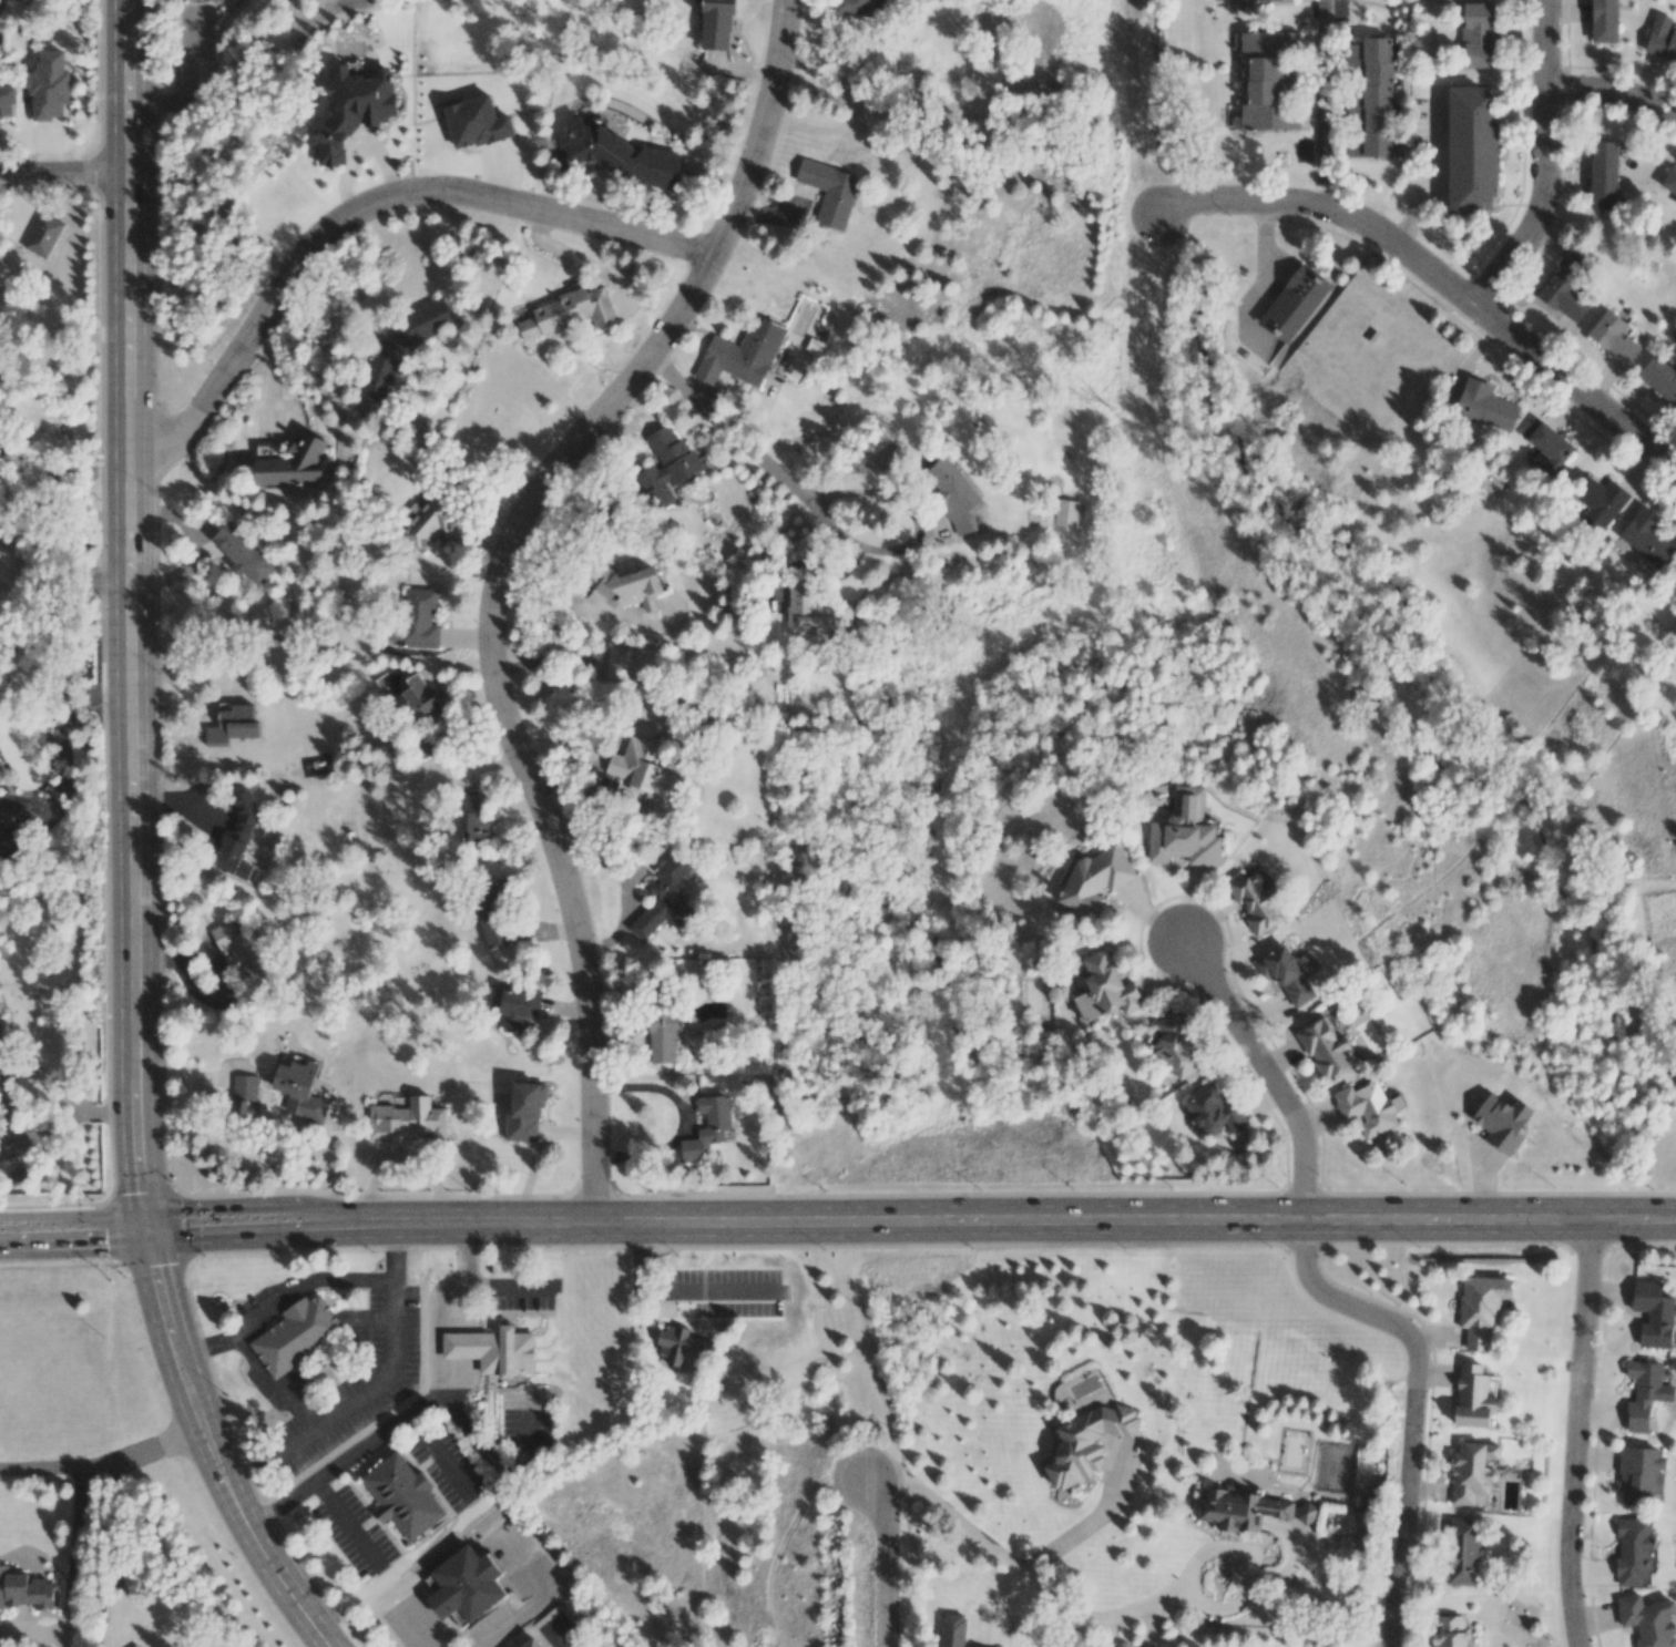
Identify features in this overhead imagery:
building: (1280, 1)
building: (856, 8)
building: (1604, 21)
building: (716, 24)
building: (1479, 34)
building: (1662, 38)
building: (1268, 80)
building: (49, 86)
road: (1613, 94)
building: (7, 100)
building: (1374, 101)
road: (1325, 104)
building: (352, 109)
building: (476, 122)
building: (1471, 151)
building: (616, 154)
road: (1550, 163)
road: (63, 172)
building: (1603, 175)
building: (1669, 180)
building: (830, 192)
building: (1675, 201)
road: (365, 204)
road: (1435, 276)
building: (1567, 288)
building: (1294, 303)
building: (569, 313)
building: (1613, 337)
building: (401, 347)
building: (742, 354)
road: (444, 374)
building: (1659, 378)
building: (1485, 406)
building: (1546, 444)
building: (294, 463)
building: (665, 467)
road: (443, 469)
building: (953, 494)
building: (1066, 513)
building: (429, 521)
road: (832, 533)
building: (1645, 536)
building: (242, 553)
building: (1675, 572)
road: (491, 575)
road: (58, 576)
road: (550, 582)
building: (630, 587)
building: (811, 613)
road: (130, 616)
building: (415, 621)
building: (619, 663)
building: (421, 698)
building: (232, 724)
road: (62, 728)
building: (421, 748)
building: (644, 771)
road: (29, 804)
building: (471, 819)
road: (30, 829)
building: (1185, 831)
building: (238, 839)
building: (1094, 880)
building: (665, 898)
building: (1256, 900)
building: (493, 912)
building: (243, 952)
building: (1285, 974)
building: (1105, 988)
building: (515, 1007)
building: (662, 1034)
building: (1, 1045)
building: (1175, 1047)
building: (1325, 1047)
road: (1264, 1071)
building: (299, 1090)
building: (1368, 1108)
building: (1215, 1109)
building: (524, 1111)
road: (264, 1118)
building: (408, 1119)
building: (1502, 1122)
road: (64, 1123)
building: (707, 1127)
road: (909, 1220)
traffic signals: (144, 1232)
road: (72, 1236)
road: (435, 1298)
road: (280, 1302)
building: (1481, 1308)
building: (1653, 1313)
building: (298, 1337)
building: (677, 1346)
building: (510, 1353)
road: (268, 1383)
road: (372, 1388)
building: (1644, 1393)
building: (1473, 1397)
road: (1410, 1401)
road: (406, 1419)
road: (1576, 1433)
building: (1086, 1443)
road: (211, 1451)
road: (103, 1462)
building: (1473, 1473)
building: (1641, 1475)
building: (407, 1495)
building: (1239, 1508)
building: (1306, 1514)
road: (1094, 1527)
building: (1633, 1551)
building: (1462, 1552)
road: (121, 1558)
road: (1294, 1558)
road: (879, 1572)
road: (73, 1575)
road: (1040, 1586)
building: (470, 1587)
building: (25, 1590)
road: (519, 1619)
building: (1648, 1620)
building: (952, 1631)
building: (1450, 1631)
building: (535, 1644)
building: (135, 1646)

